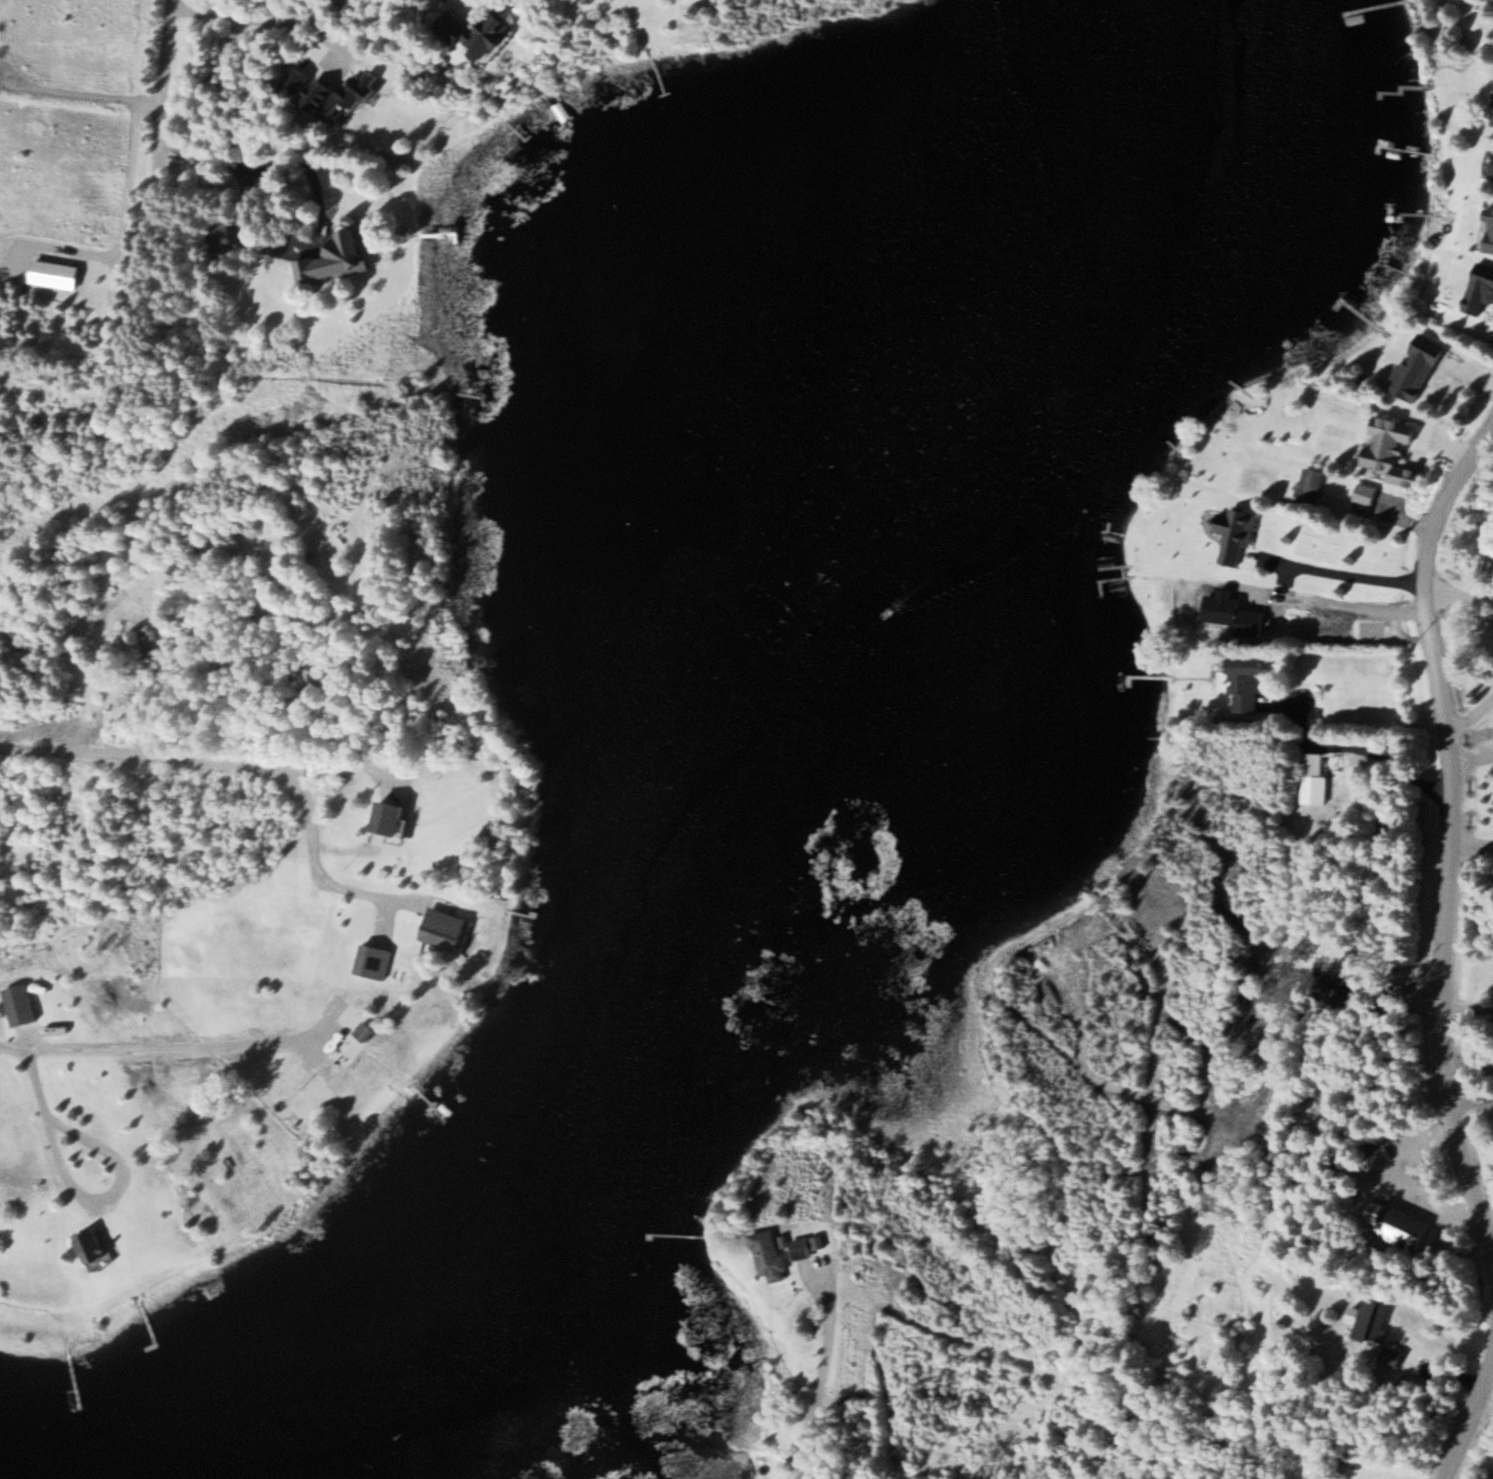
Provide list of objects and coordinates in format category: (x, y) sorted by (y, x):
building: (353, 1)
building: (480, 33)
road: (171, 77)
building: (321, 95)
building: (1492, 168)
building: (1489, 234)
building: (228, 236)
building: (346, 257)
building: (1481, 289)
building: (1418, 366)
building: (1392, 449)
building: (1311, 485)
building: (1365, 493)
building: (1242, 679)
road: (138, 757)
building: (1313, 777)
building: (395, 818)
road: (1458, 836)
river: (682, 881)
building: (447, 928)
building: (373, 960)
building: (17, 1004)
road: (13, 1049)
building: (1406, 1227)
building: (807, 1246)
building: (95, 1247)
building: (770, 1254)
building: (1370, 1318)
building: (1392, 1356)
road: (824, 1369)
road: (1470, 1425)

